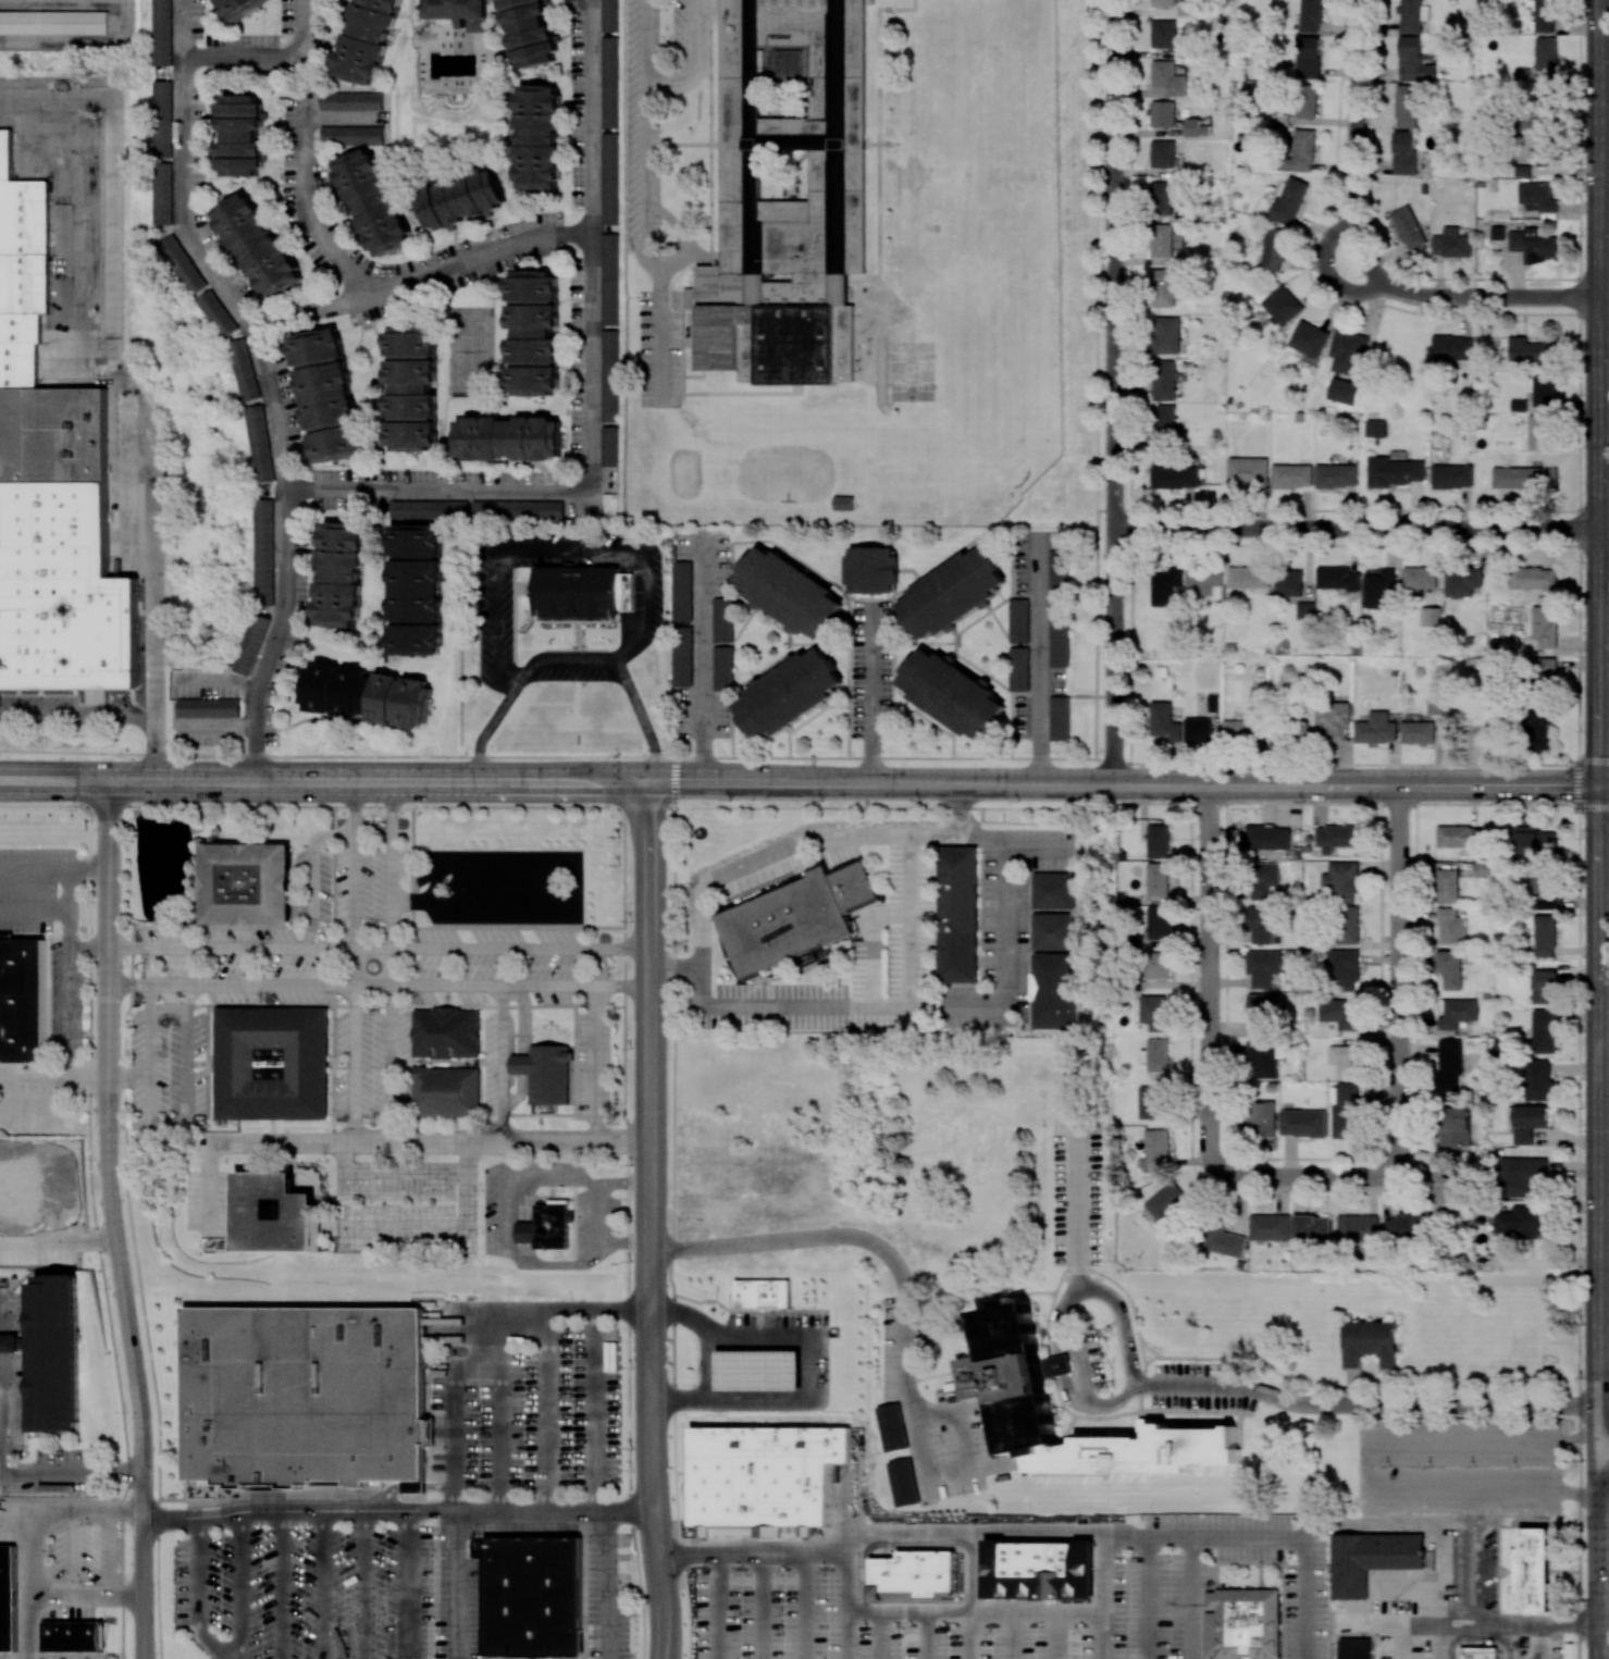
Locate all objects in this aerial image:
building: (1162, 2)
building: (1185, 7)
building: (239, 8)
building: (461, 12)
building: (609, 15)
building: (1310, 15)
building: (1412, 15)
building: (1545, 15)
building: (53, 21)
building: (531, 30)
building: (162, 33)
building: (1163, 33)
road: (644, 36)
building: (366, 39)
building: (1545, 53)
building: (1308, 57)
road: (263, 59)
road: (691, 60)
building: (1413, 61)
building: (1167, 78)
building: (609, 82)
road: (1605, 83)
parking lot: (651, 99)
building: (351, 101)
building: (1305, 101)
building: (1543, 101)
building: (1407, 106)
building: (1162, 113)
road: (586, 115)
building: (162, 119)
building: (1280, 119)
building: (1191, 126)
building: (240, 135)
building: (351, 135)
building: (539, 138)
road: (644, 139)
road: (1356, 144)
building: (1545, 148)
building: (1300, 152)
building: (1403, 152)
building: (1163, 153)
building: (1522, 170)
park: (978, 176)
building: (610, 178)
road: (301, 179)
building: (162, 193)
building: (794, 193)
building: (1538, 197)
building: (461, 198)
building: (1161, 198)
building: (374, 201)
building: (1289, 201)
building: (1189, 212)
building: (1410, 230)
road: (684, 233)
road: (642, 240)
building: (1161, 240)
building: (1452, 244)
building: (1533, 244)
building: (257, 245)
building: (1273, 249)
building: (182, 264)
park: (978, 270)
road: (1327, 273)
building: (610, 278)
road: (1483, 278)
building: (1164, 287)
road: (1605, 292)
road: (1488, 297)
building: (694, 298)
building: (1282, 306)
building: (215, 313)
building: (534, 333)
road: (589, 333)
road: (663, 333)
building: (1166, 335)
building: (1309, 338)
building: (1452, 347)
parking lot: (660, 350)
building: (1532, 350)
park: (469, 351)
building: (1348, 351)
building: (244, 369)
park: (912, 371)
park: (998, 371)
building: (609, 374)
building: (1164, 380)
road: (126, 383)
road: (264, 383)
building: (411, 387)
road: (1113, 392)
building: (1344, 392)
building: (1545, 392)
road: (1599, 393)
building: (326, 394)
building: (1519, 405)
building: (1299, 417)
building: (1163, 422)
building: (1376, 428)
building: (1539, 431)
building: (509, 438)
building: (259, 443)
building: (610, 446)
building: (1394, 471)
park: (682, 472)
park: (784, 472)
building: (1247, 472)
building: (1291, 475)
building: (1336, 475)
building: (1452, 475)
building: (1174, 476)
building: (1524, 478)
building: (51, 485)
building: (843, 504)
building: (429, 509)
building: (518, 509)
road: (1356, 528)
road: (561, 548)
building: (264, 552)
road: (789, 556)
road: (953, 556)
parking lot: (706, 559)
parking lot: (1036, 559)
building: (870, 569)
building: (1061, 569)
road: (911, 570)
building: (339, 572)
building: (1248, 577)
building: (1419, 577)
building: (1336, 578)
building: (1532, 578)
road: (824, 580)
building: (1462, 581)
building: (1203, 583)
building: (1287, 583)
building: (1164, 586)
building: (416, 589)
building: (1378, 590)
building: (682, 592)
building: (790, 592)
building: (951, 592)
building: (583, 593)
road: (1094, 603)
road: (754, 605)
road: (987, 606)
building: (1304, 610)
road: (515, 615)
parking lot: (494, 616)
building: (1431, 616)
building: (722, 619)
road: (767, 619)
building: (1020, 619)
road: (528, 622)
building: (1545, 627)
road: (506, 629)
road: (788, 629)
road: (952, 630)
road: (849, 632)
road: (579, 641)
road: (731, 642)
road: (923, 642)
building: (250, 643)
road: (718, 643)
road: (818, 643)
road: (1011, 644)
road: (1026, 644)
building: (1060, 645)
road: (575, 649)
building: (682, 656)
road: (788, 656)
road: (953, 657)
road: (705, 660)
road: (573, 661)
road: (1041, 664)
building: (722, 667)
building: (1020, 668)
parking lot: (870, 669)
parking lot: (571, 674)
building: (1544, 674)
road: (755, 680)
road: (987, 680)
road: (994, 681)
parking lot: (1059, 681)
building: (952, 693)
building: (367, 694)
building: (789, 694)
road: (1084, 695)
road: (871, 698)
building: (1212, 703)
road: (824, 705)
building: (208, 707)
road: (917, 708)
parking lot: (702, 713)
parking lot: (1022, 716)
building: (1060, 718)
building: (1333, 719)
road: (77, 720)
building: (1164, 721)
building: (1425, 726)
building: (1537, 728)
road: (790, 729)
building: (1376, 729)
building: (1199, 730)
building: (1239, 730)
road: (952, 731)
building: (1476, 733)
road: (366, 756)
road: (799, 757)
road: (1069, 758)
road: (323, 780)
traffic signals: (648, 782)
road: (1124, 784)
traffic signals: (1601, 787)
road: (1605, 787)
road: (304, 806)
road: (573, 806)
building: (1458, 835)
building: (1267, 837)
building: (1337, 837)
road: (810, 839)
building: (1159, 841)
building: (1534, 842)
road: (1035, 846)
road: (53, 867)
road: (313, 872)
road: (577, 878)
building: (1159, 879)
building: (1265, 881)
building: (1342, 881)
building: (247, 883)
building: (1448, 884)
building: (1054, 890)
building: (1542, 892)
road: (409, 900)
building: (957, 914)
road: (65, 915)
building: (795, 917)
building: (1158, 924)
building: (1263, 925)
building: (1347, 925)
road: (1004, 926)
road: (375, 927)
building: (1451, 927)
building: (1054, 930)
building: (1545, 936)
building: (1134, 941)
road: (378, 949)
road: (392, 961)
road: (355, 962)
building: (1156, 966)
building: (1262, 967)
building: (1450, 968)
building: (1344, 969)
road: (1210, 973)
road: (1400, 974)
building: (1128, 985)
road: (379, 986)
building: (1544, 987)
building: (1055, 992)
building: (22, 999)
road: (847, 1008)
building: (1263, 1011)
road: (69, 1012)
building: (1154, 1012)
building: (1339, 1013)
building: (1457, 1013)
building: (1544, 1031)
building: (446, 1032)
road: (1605, 1032)
road: (504, 1043)
road: (603, 1043)
building: (1155, 1055)
building: (1262, 1057)
building: (272, 1063)
building: (1349, 1063)
building: (1450, 1065)
building: (545, 1073)
road: (87, 1077)
building: (1537, 1079)
road: (34, 1080)
road: (1605, 1088)
building: (446, 1091)
road: (1599, 1094)
building: (1153, 1102)
building: (1346, 1111)
road: (152, 1116)
building: (1262, 1119)
building: (1526, 1122)
building: (1302, 1123)
building: (1455, 1126)
road: (416, 1142)
building: (1156, 1150)
road: (405, 1169)
building: (1521, 1175)
road: (1304, 1178)
road: (90, 1192)
building: (1439, 1192)
road: (672, 1201)
building: (1166, 1205)
road: (210, 1208)
building: (275, 1213)
road: (512, 1216)
road: (601, 1216)
road: (113, 1220)
road: (649, 1221)
building: (1407, 1222)
building: (1522, 1222)
road: (432, 1227)
building: (545, 1227)
building: (1268, 1227)
building: (1312, 1227)
building: (1358, 1228)
building: (1223, 1241)
road: (57, 1242)
building: (763, 1293)
road: (1604, 1303)
road: (720, 1304)
road: (906, 1309)
road: (771, 1310)
parking lot: (776, 1320)
road: (483, 1341)
building: (1370, 1342)
road: (1604, 1350)
building: (52, 1352)
road: (711, 1365)
road: (810, 1366)
gas station: (758, 1369)
building: (758, 1371)
road: (1067, 1374)
road: (1224, 1385)
building: (1023, 1388)
building: (304, 1397)
road: (544, 1409)
road: (591, 1409)
road: (3, 1415)
road: (1601, 1416)
road: (495, 1419)
building: (894, 1426)
building: (1143, 1427)
road: (1595, 1449)
road: (1363, 1471)
road: (71, 1472)
building: (765, 1478)
building: (905, 1482)
road: (1602, 1483)
road: (397, 1510)
road: (1415, 1526)
road: (29, 1533)
road: (1220, 1534)
road: (900, 1536)
road: (1604, 1543)
building: (1371, 1559)
building: (1039, 1570)
building: (1534, 1571)
road: (196, 1573)
building: (912, 1574)
road: (1598, 1577)
road: (280, 1584)
road: (320, 1584)
road: (363, 1584)
road: (407, 1584)
road: (456, 1584)
road: (607, 1584)
road: (239, 1585)
road: (86, 1596)
building: (532, 1596)
road: (1196, 1596)
building: (8, 1598)
road: (808, 1604)
road: (767, 1605)
road: (713, 1607)
road: (1051, 1611)
road: (911, 1613)
road: (1604, 1623)
building: (1242, 1624)
road: (1482, 1624)
road: (1104, 1634)
building: (73, 1636)
road: (847, 1636)
road: (211, 1646)
building: (1356, 1649)
building: (1478, 1652)

